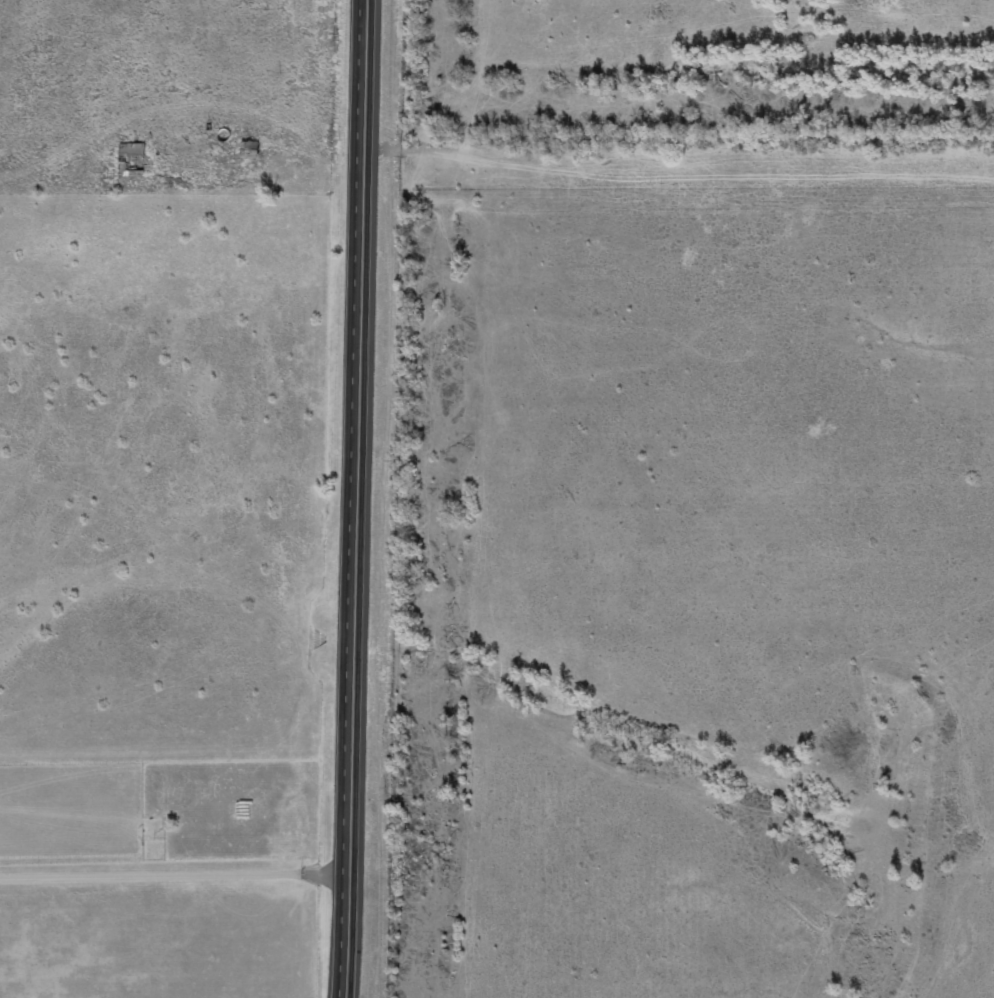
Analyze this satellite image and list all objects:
building: (249, 151)
road: (682, 153)
building: (131, 163)
road: (357, 498)

